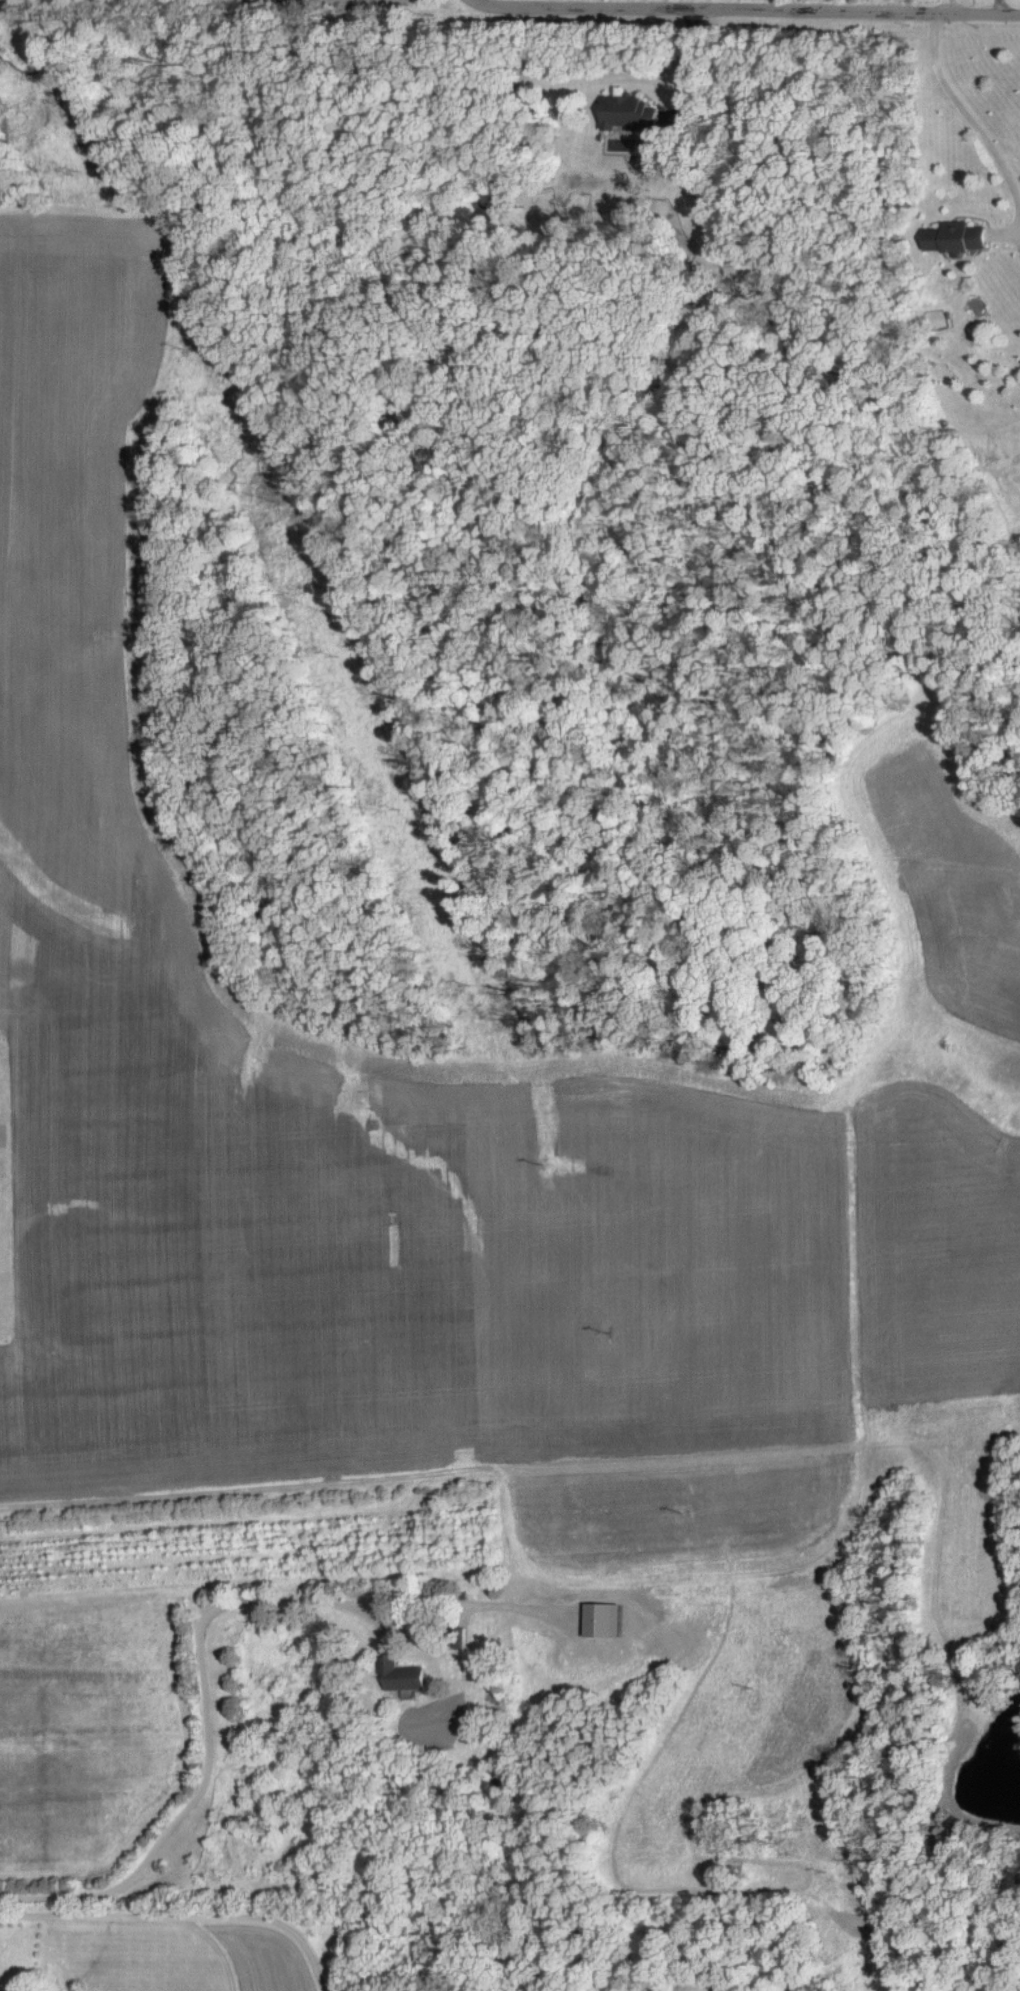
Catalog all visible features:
road: (504, 5)
road: (776, 8)
road: (997, 8)
road: (688, 60)
building: (630, 111)
road: (967, 117)
building: (958, 235)
building: (406, 1674)
road: (205, 1729)
park: (864, 1867)
road: (926, 1908)
road: (183, 1918)

